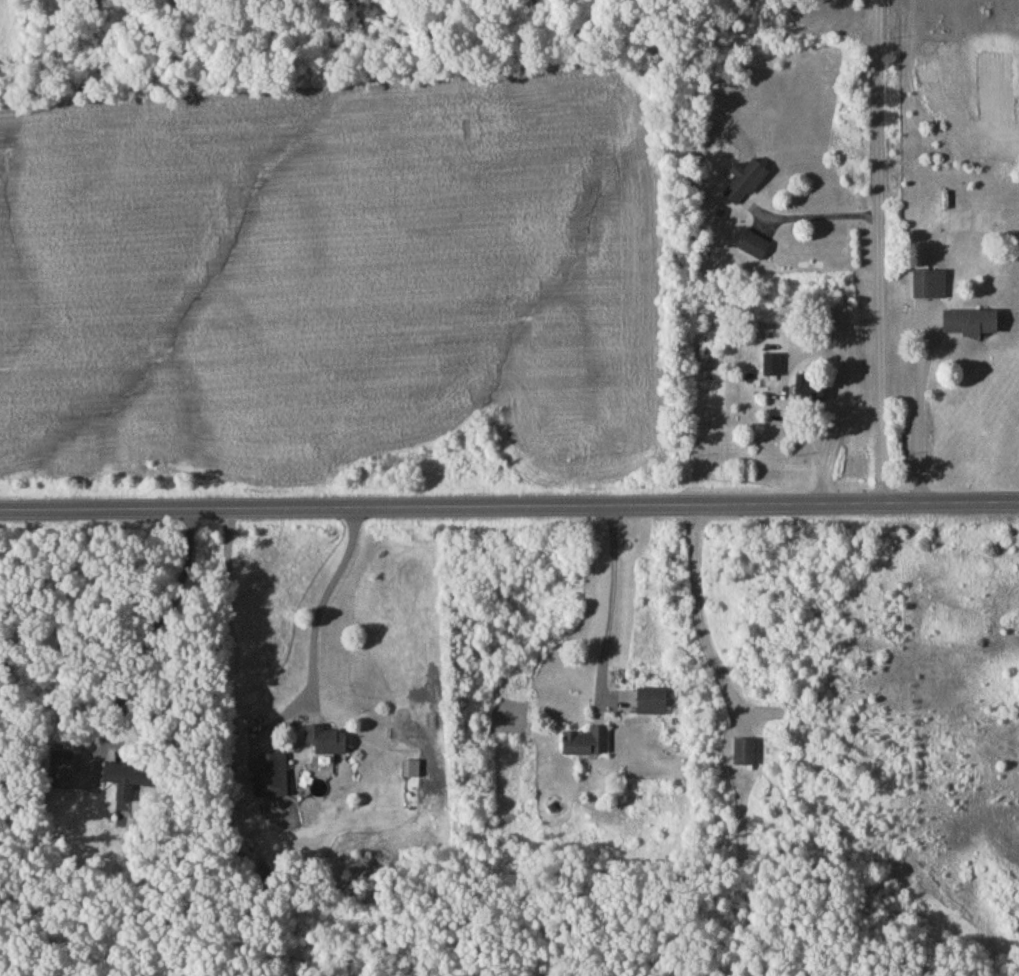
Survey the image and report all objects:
building: (747, 185)
road: (815, 218)
building: (756, 249)
road: (883, 253)
building: (931, 286)
building: (974, 325)
road: (827, 352)
building: (774, 367)
building: (811, 393)
road: (919, 407)
road: (509, 509)
road: (322, 605)
road: (612, 605)
road: (701, 619)
road: (159, 624)
building: (654, 704)
building: (328, 743)
building: (587, 745)
building: (746, 755)
building: (275, 778)
building: (131, 781)

